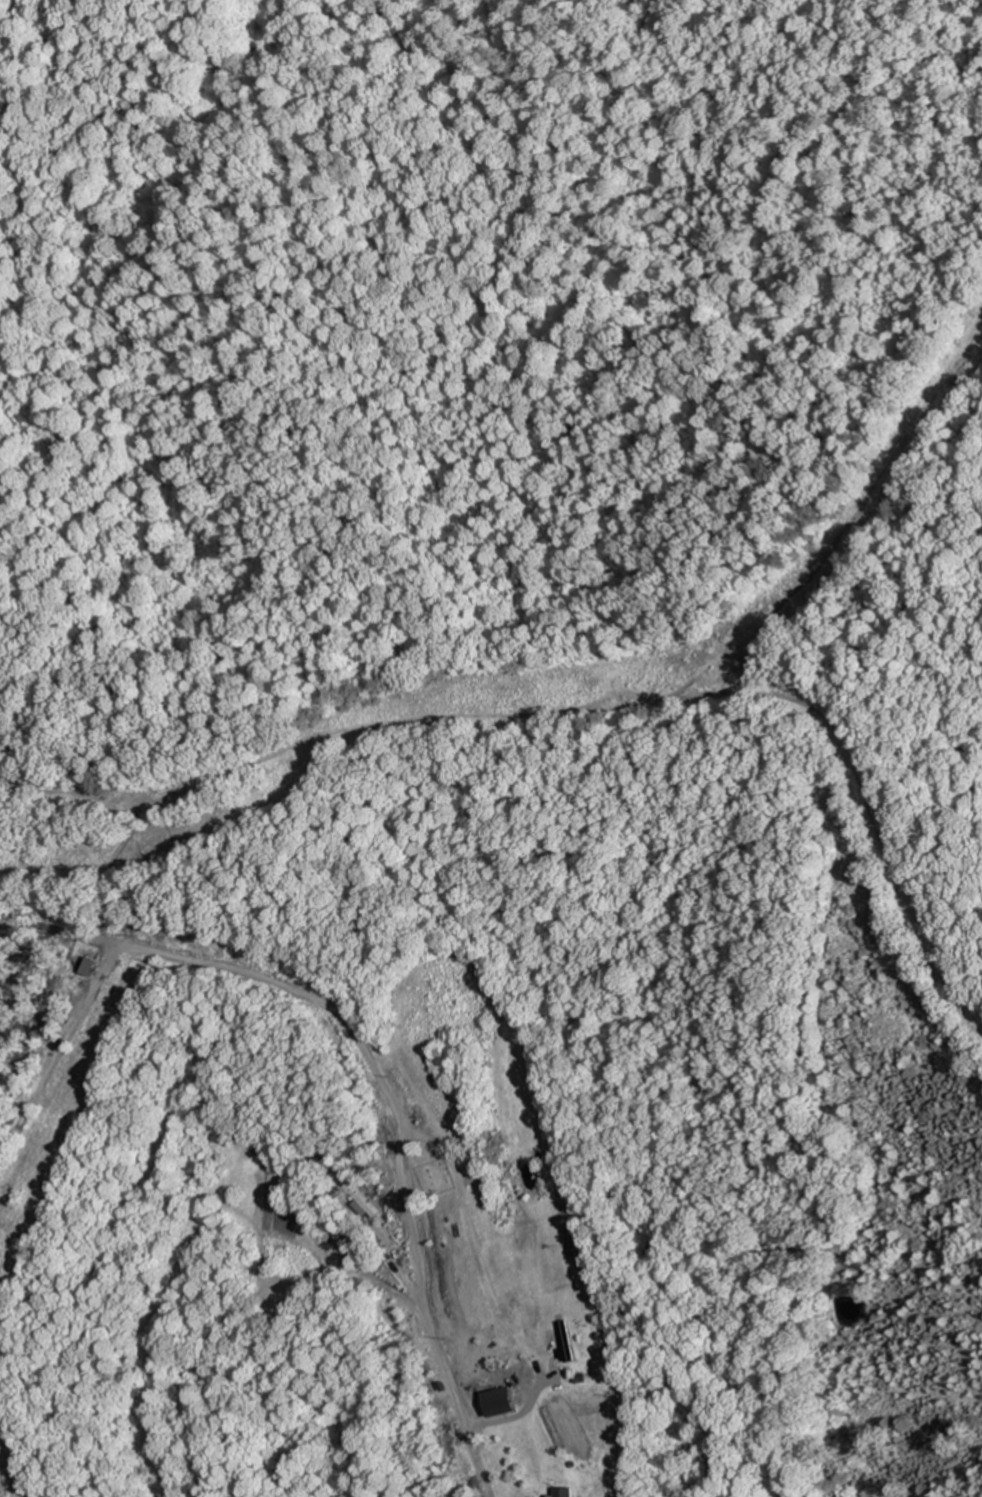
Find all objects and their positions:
building: (361, 1198)
road: (419, 1294)
building: (582, 1341)
building: (499, 1401)
building: (455, 1443)

